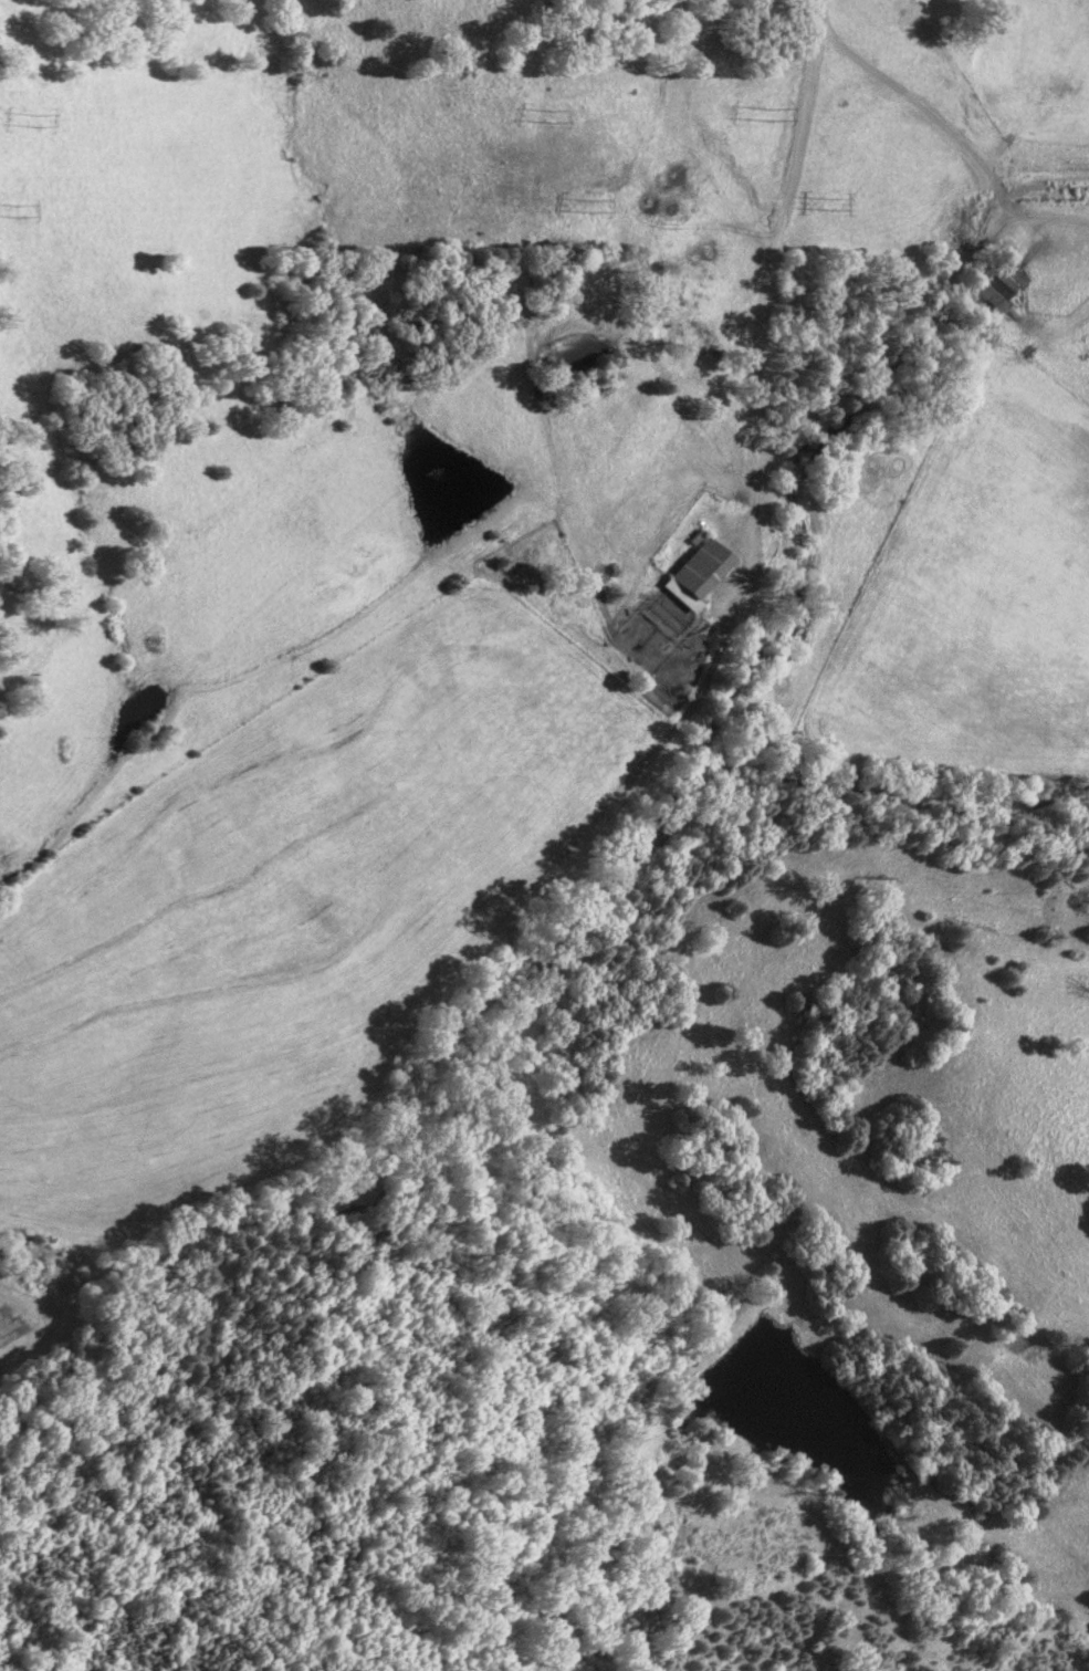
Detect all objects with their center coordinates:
road: (772, 286)
building: (996, 286)
building: (698, 568)

